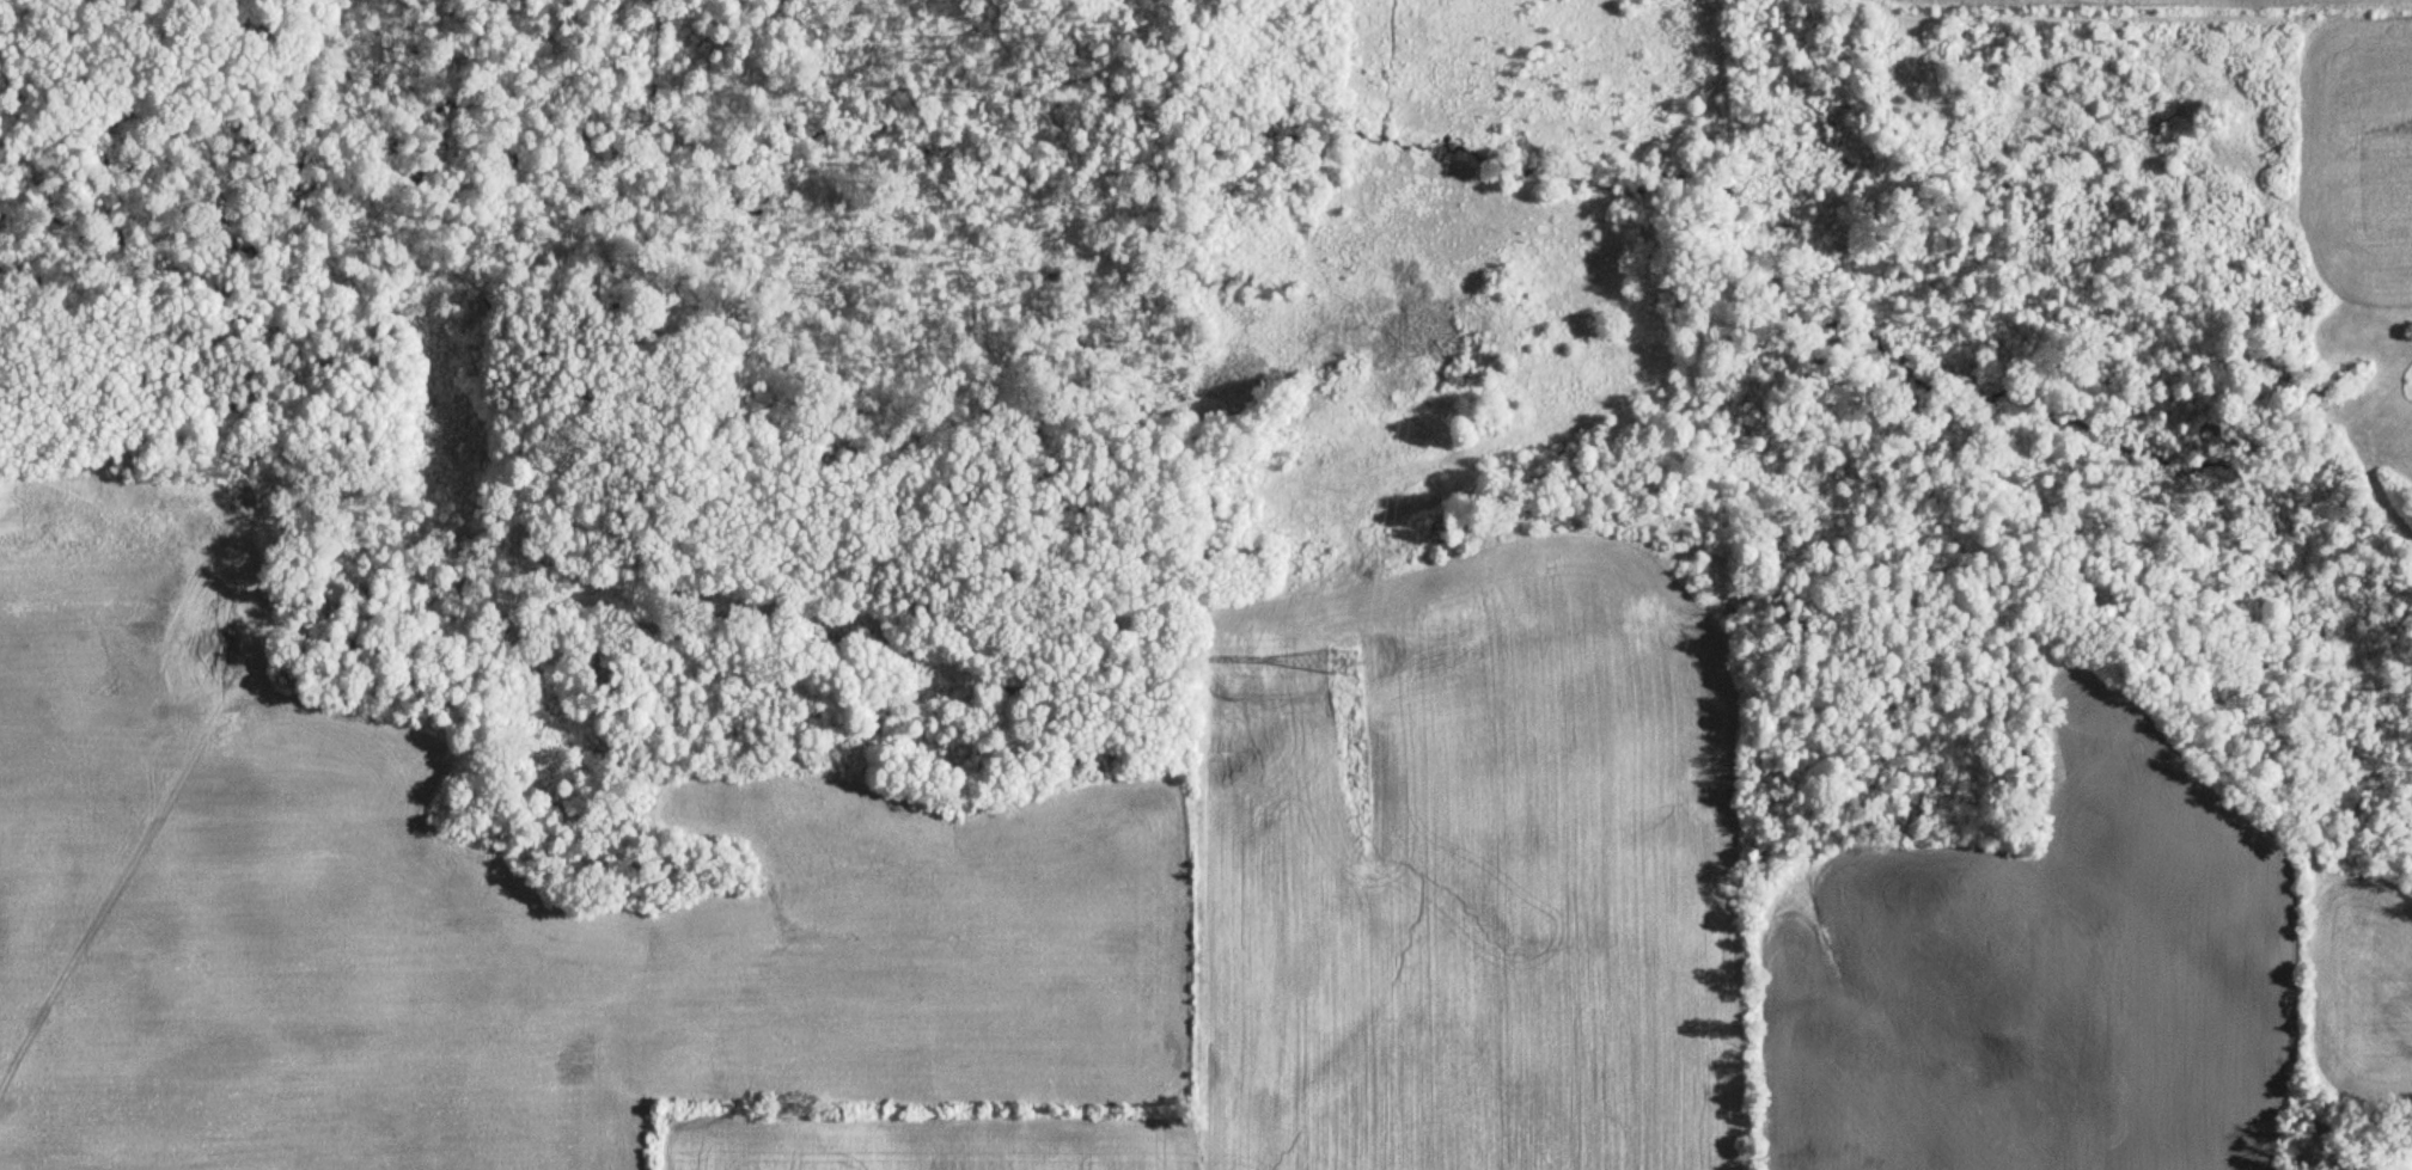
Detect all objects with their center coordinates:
power tower: (1352, 661)

